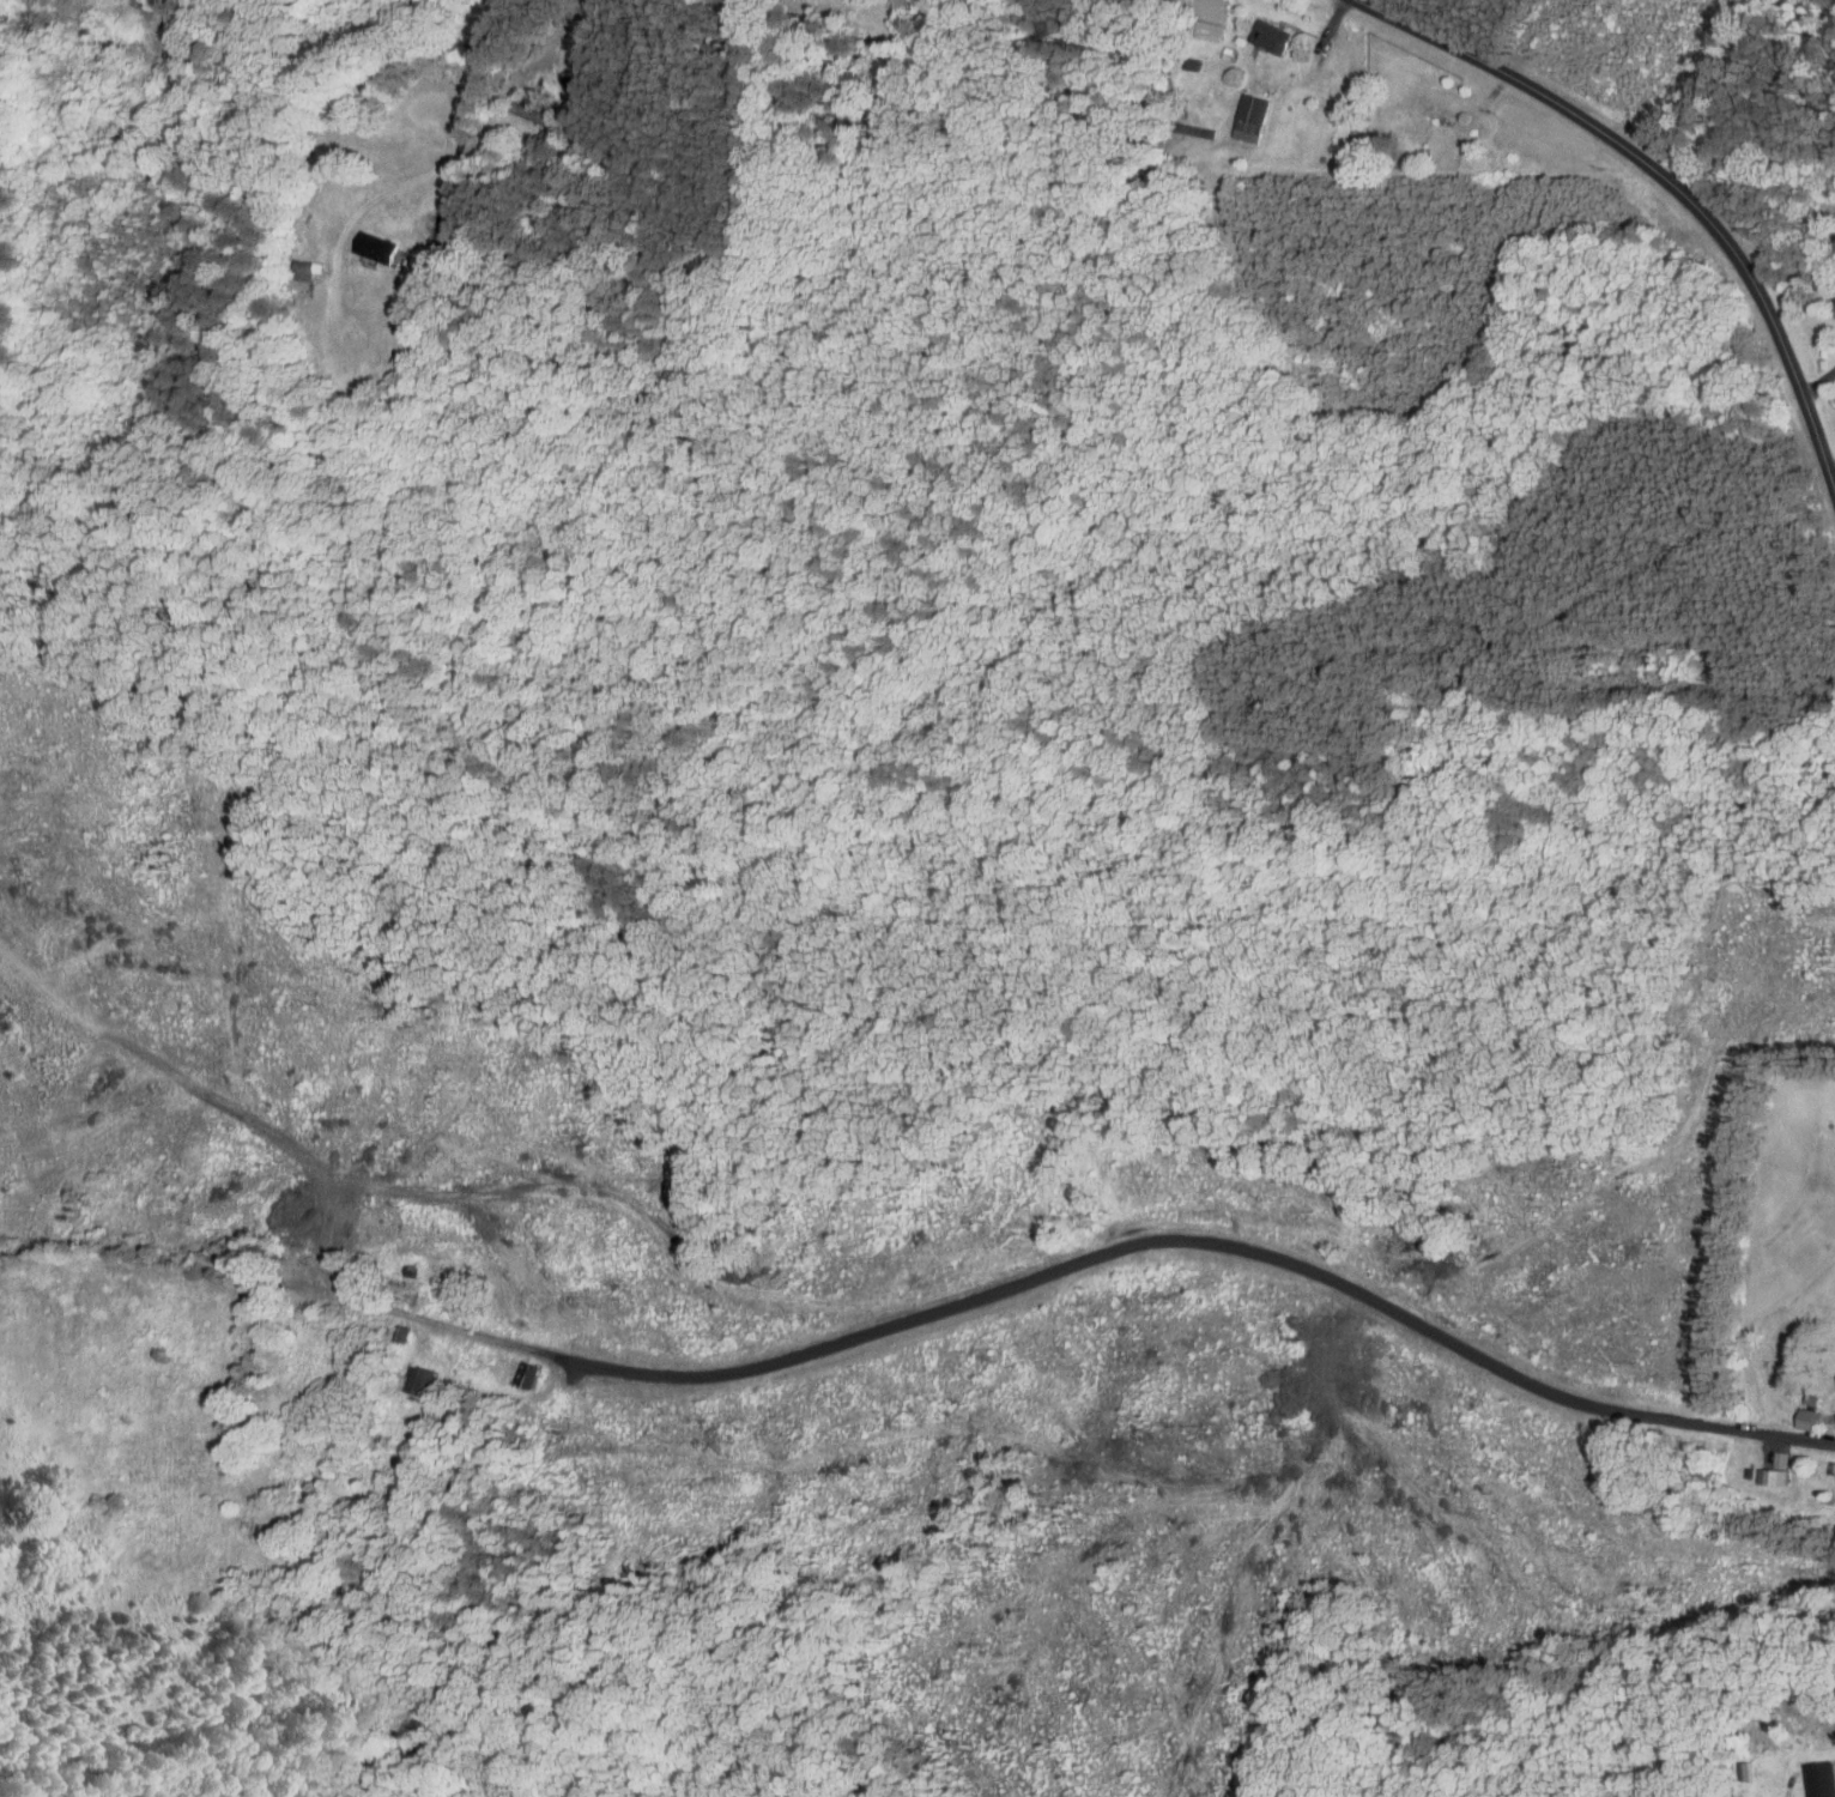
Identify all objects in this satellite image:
building: (1259, 29)
road: (559, 32)
building: (1239, 110)
road: (461, 125)
road: (1669, 186)
building: (365, 240)
road: (1816, 386)
road: (1830, 479)
road: (1097, 1257)
building: (411, 1373)
building: (1831, 1374)
building: (1798, 1411)
building: (1766, 1462)
building: (1831, 1466)
building: (1750, 1468)
building: (1811, 1777)

